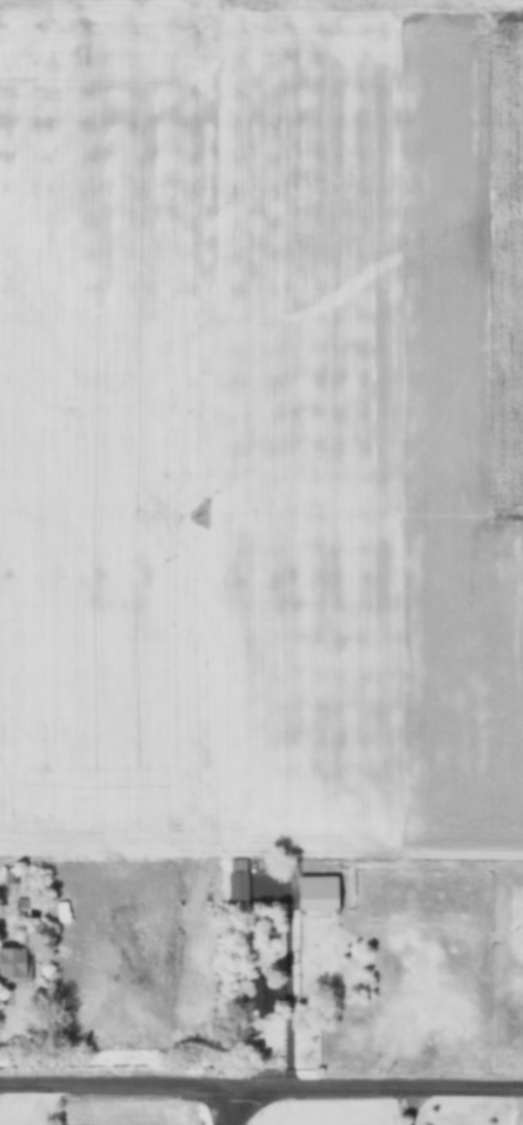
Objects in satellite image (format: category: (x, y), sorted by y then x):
building: (237, 882)
building: (316, 892)
building: (15, 962)
building: (259, 995)
road: (261, 1083)
road: (225, 1104)
crop: (514, 1111)

